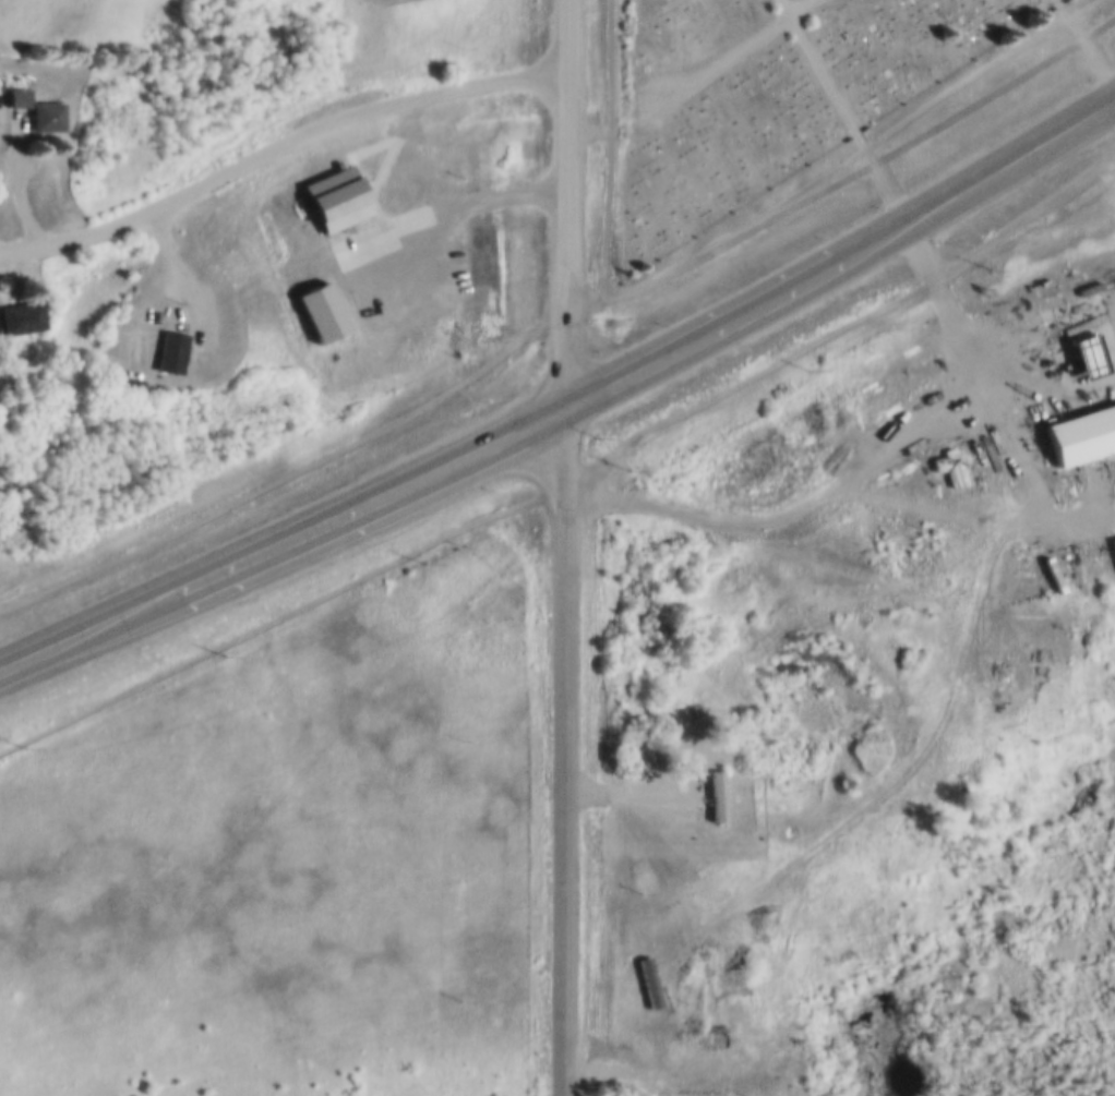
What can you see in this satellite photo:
road: (787, 7)
road: (801, 7)
road: (1088, 37)
road: (687, 92)
building: (17, 96)
building: (46, 115)
road: (851, 116)
road: (1058, 134)
road: (609, 152)
road: (283, 153)
road: (863, 169)
road: (21, 178)
road: (920, 214)
road: (586, 309)
building: (21, 315)
road: (704, 334)
building: (168, 350)
building: (1084, 352)
gas station: (1084, 352)
road: (981, 365)
building: (1080, 432)
building: (950, 465)
road: (1014, 478)
road: (374, 497)
road: (803, 521)
road: (568, 547)
road: (88, 626)
building: (770, 783)
road: (637, 792)
building: (718, 797)
road: (638, 1074)
building: (733, 1076)

